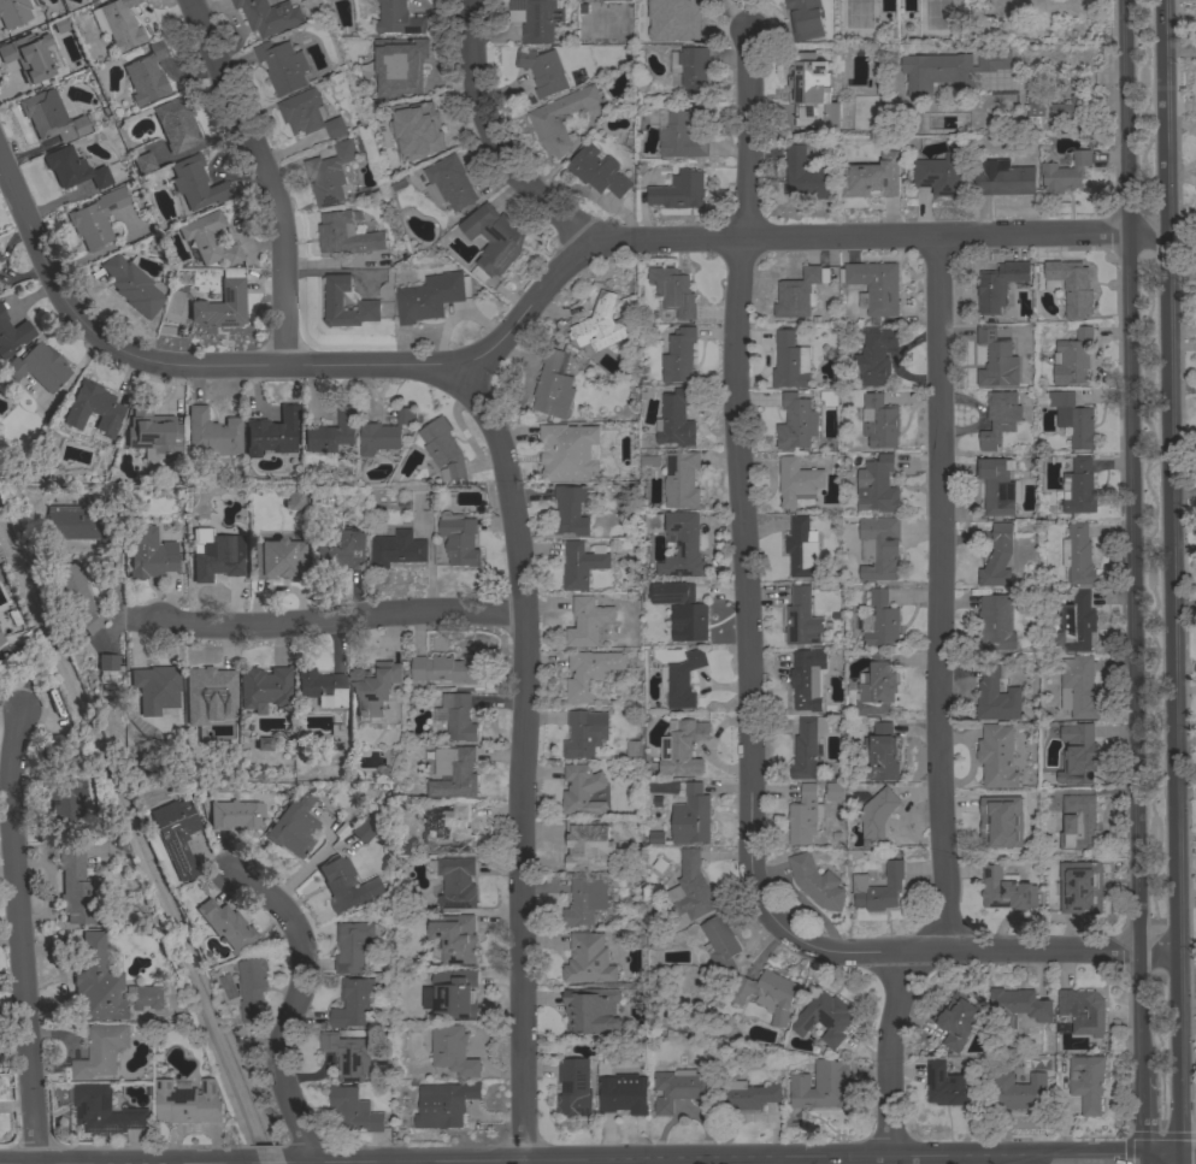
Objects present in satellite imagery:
building: (588, 0)
building: (13, 12)
building: (269, 16)
building: (399, 18)
building: (536, 18)
building: (805, 18)
building: (673, 20)
building: (120, 24)
building: (28, 57)
building: (399, 65)
building: (283, 66)
building: (691, 69)
building: (949, 70)
building: (543, 71)
building: (147, 75)
road: (1070, 78)
building: (813, 93)
building: (1035, 101)
building: (1067, 107)
building: (307, 114)
building: (49, 117)
building: (560, 118)
building: (176, 124)
building: (423, 125)
building: (684, 132)
road: (488, 138)
building: (143, 164)
building: (72, 170)
building: (597, 171)
building: (330, 173)
building: (805, 173)
building: (939, 173)
building: (1064, 173)
road: (265, 175)
building: (871, 177)
building: (1003, 178)
building: (195, 183)
building: (448, 183)
building: (679, 190)
building: (95, 219)
building: (346, 234)
building: (208, 240)
building: (493, 241)
road: (603, 242)
road: (41, 258)
building: (998, 284)
building: (131, 286)
building: (874, 286)
building: (1070, 286)
building: (673, 290)
building: (799, 293)
building: (431, 296)
building: (367, 305)
building: (220, 306)
building: (599, 324)
building: (12, 335)
building: (679, 355)
building: (996, 356)
building: (1072, 356)
building: (874, 358)
building: (790, 361)
building: (37, 367)
building: (552, 385)
building: (829, 397)
building: (93, 409)
building: (1000, 418)
building: (1072, 418)
building: (676, 419)
building: (879, 421)
building: (796, 423)
building: (151, 431)
building: (331, 432)
building: (384, 432)
building: (212, 433)
building: (272, 433)
building: (443, 450)
building: (567, 451)
road: (738, 478)
building: (682, 479)
building: (797, 480)
building: (877, 485)
building: (996, 485)
building: (1078, 488)
building: (294, 500)
building: (572, 509)
building: (653, 522)
building: (76, 525)
building: (459, 538)
road: (1135, 538)
building: (682, 545)
building: (879, 546)
building: (801, 548)
building: (397, 549)
building: (342, 551)
building: (148, 554)
building: (1078, 554)
building: (997, 557)
building: (277, 559)
building: (217, 560)
building: (581, 565)
road: (1168, 578)
road: (938, 593)
building: (73, 595)
building: (695, 609)
building: (802, 618)
road: (337, 619)
building: (879, 619)
building: (588, 621)
building: (996, 622)
building: (1076, 622)
building: (1, 640)
building: (106, 663)
building: (446, 668)
building: (590, 673)
building: (808, 679)
building: (682, 680)
building: (210, 683)
building: (152, 685)
building: (877, 685)
building: (1079, 686)
building: (263, 687)
building: (320, 687)
building: (372, 690)
building: (996, 698)
building: (459, 716)
building: (583, 734)
building: (51, 744)
building: (808, 745)
building: (683, 748)
building: (634, 749)
building: (880, 754)
building: (997, 756)
building: (1082, 756)
road: (522, 761)
building: (453, 772)
building: (582, 790)
building: (835, 791)
building: (1029, 798)
building: (64, 804)
building: (235, 815)
building: (691, 815)
building: (805, 815)
building: (877, 817)
building: (994, 822)
building: (1079, 823)
building: (293, 827)
building: (367, 827)
building: (449, 831)
building: (176, 835)
building: (588, 845)
building: (456, 882)
building: (815, 882)
building: (348, 887)
building: (691, 887)
building: (878, 887)
building: (1080, 887)
building: (1006, 890)
building: (77, 892)
building: (585, 900)
building: (226, 926)
building: (455, 936)
road: (19, 939)
building: (353, 945)
building: (719, 947)
road: (972, 952)
building: (588, 959)
building: (98, 983)
building: (252, 987)
building: (454, 993)
building: (767, 994)
building: (147, 997)
building: (353, 1003)
road: (294, 1004)
building: (1017, 1006)
building: (591, 1010)
building: (1083, 1010)
building: (824, 1017)
building: (958, 1018)
building: (453, 1050)
building: (99, 1051)
building: (347, 1054)
road: (890, 1056)
building: (1086, 1082)
building: (820, 1085)
building: (949, 1085)
building: (573, 1088)
building: (678, 1088)
building: (1017, 1091)
building: (623, 1093)
building: (743, 1095)
building: (188, 1101)
building: (444, 1104)
building: (105, 1110)
building: (353, 1110)
road: (1143, 1117)
road: (1188, 1156)
road: (1161, 1157)
road: (1144, 1160)
road: (1179, 1160)
road: (833, 1162)
road: (271, 1163)
road: (296, 1163)
road: (843, 1163)

